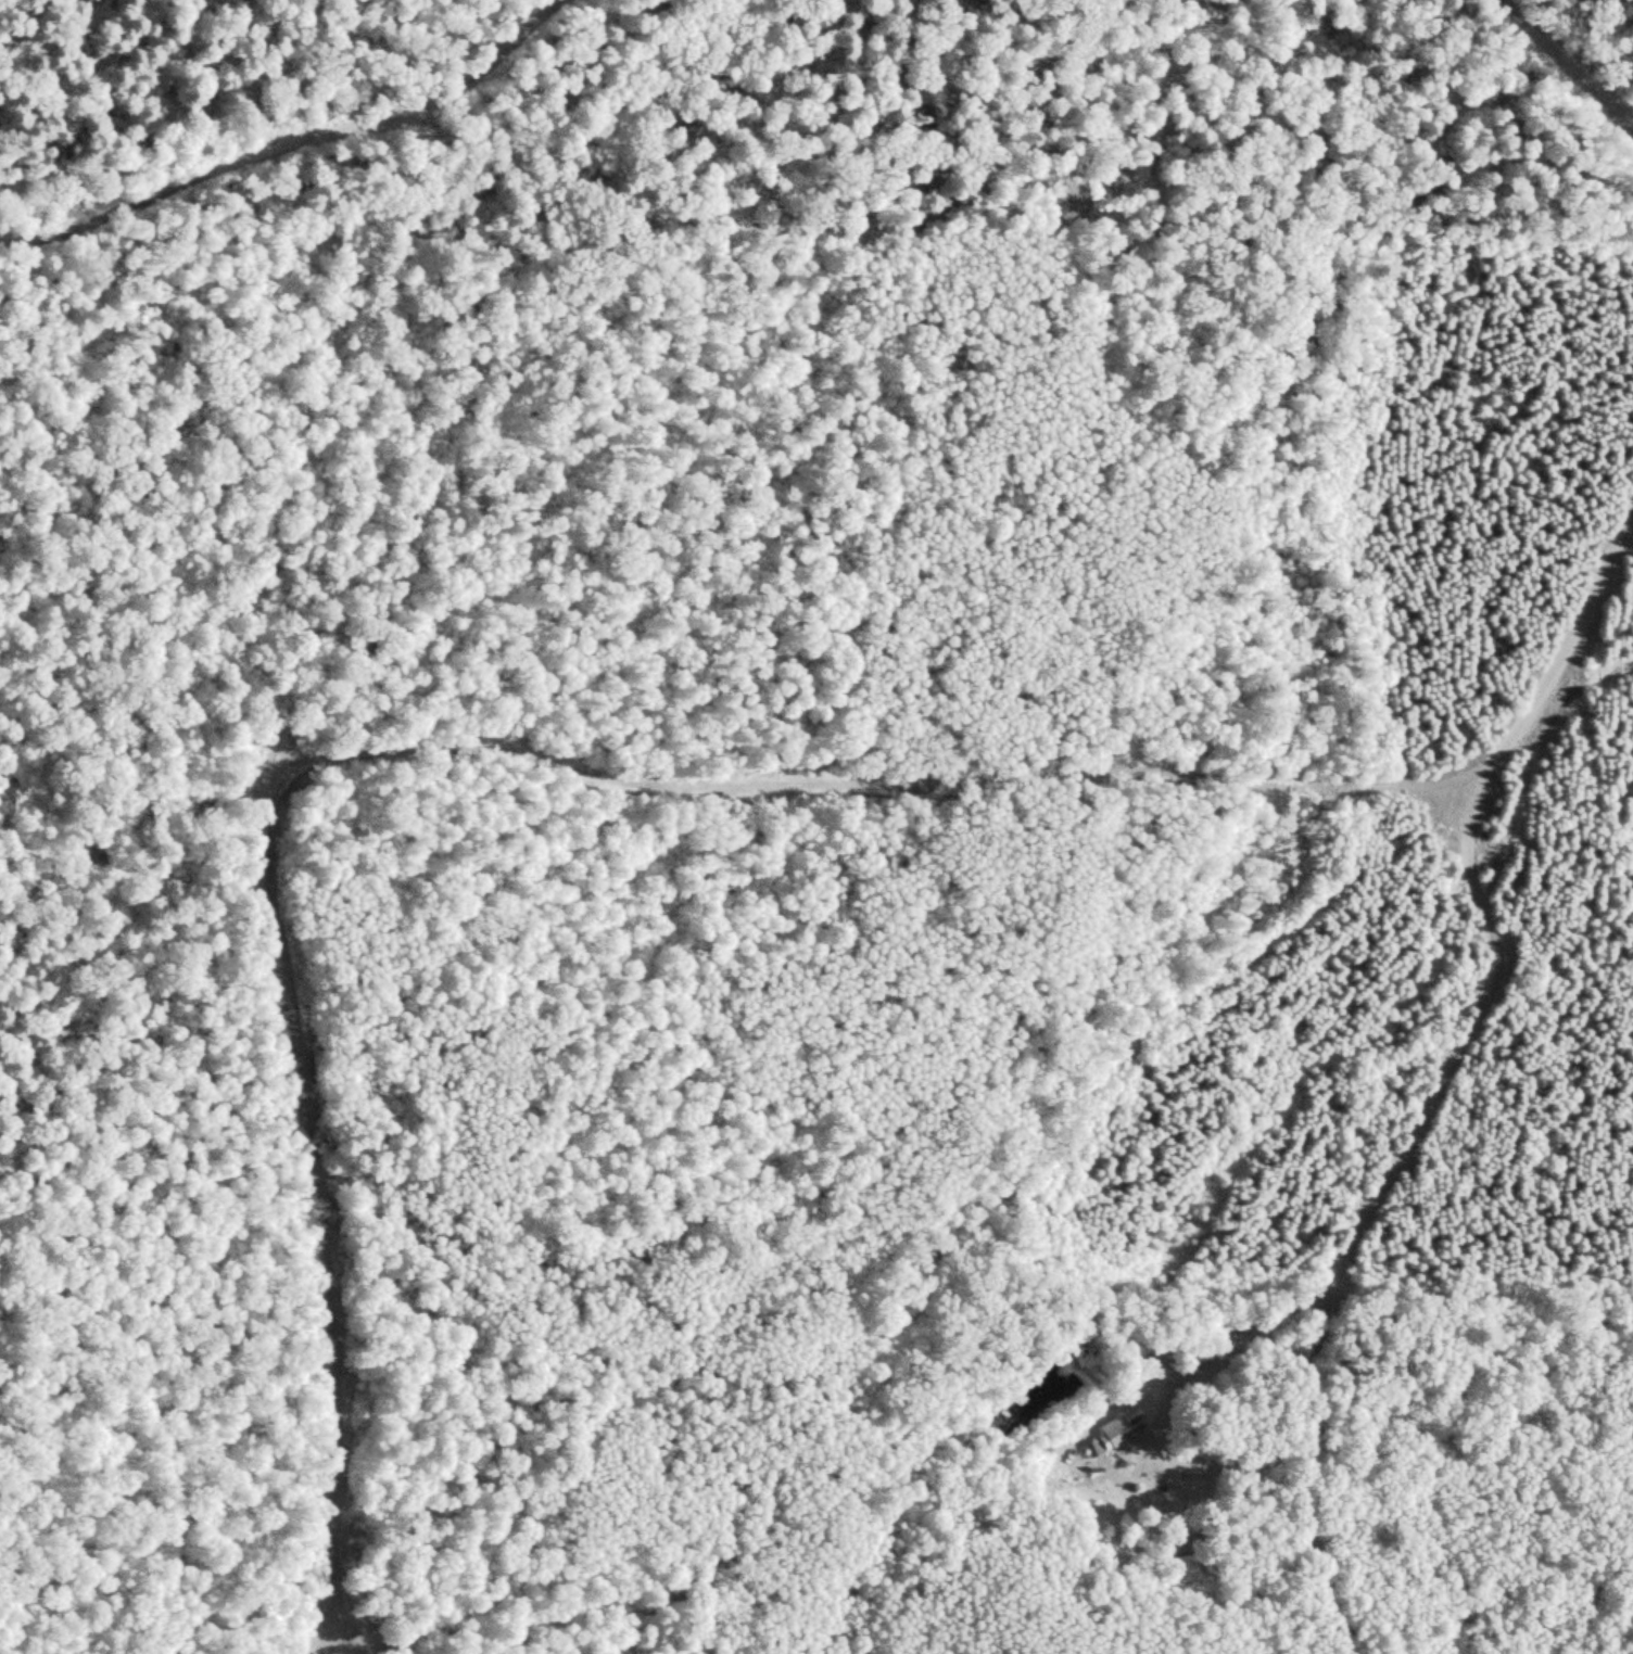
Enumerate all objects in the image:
road: (1550, 660)
building: (1114, 1435)
building: (1190, 1567)

